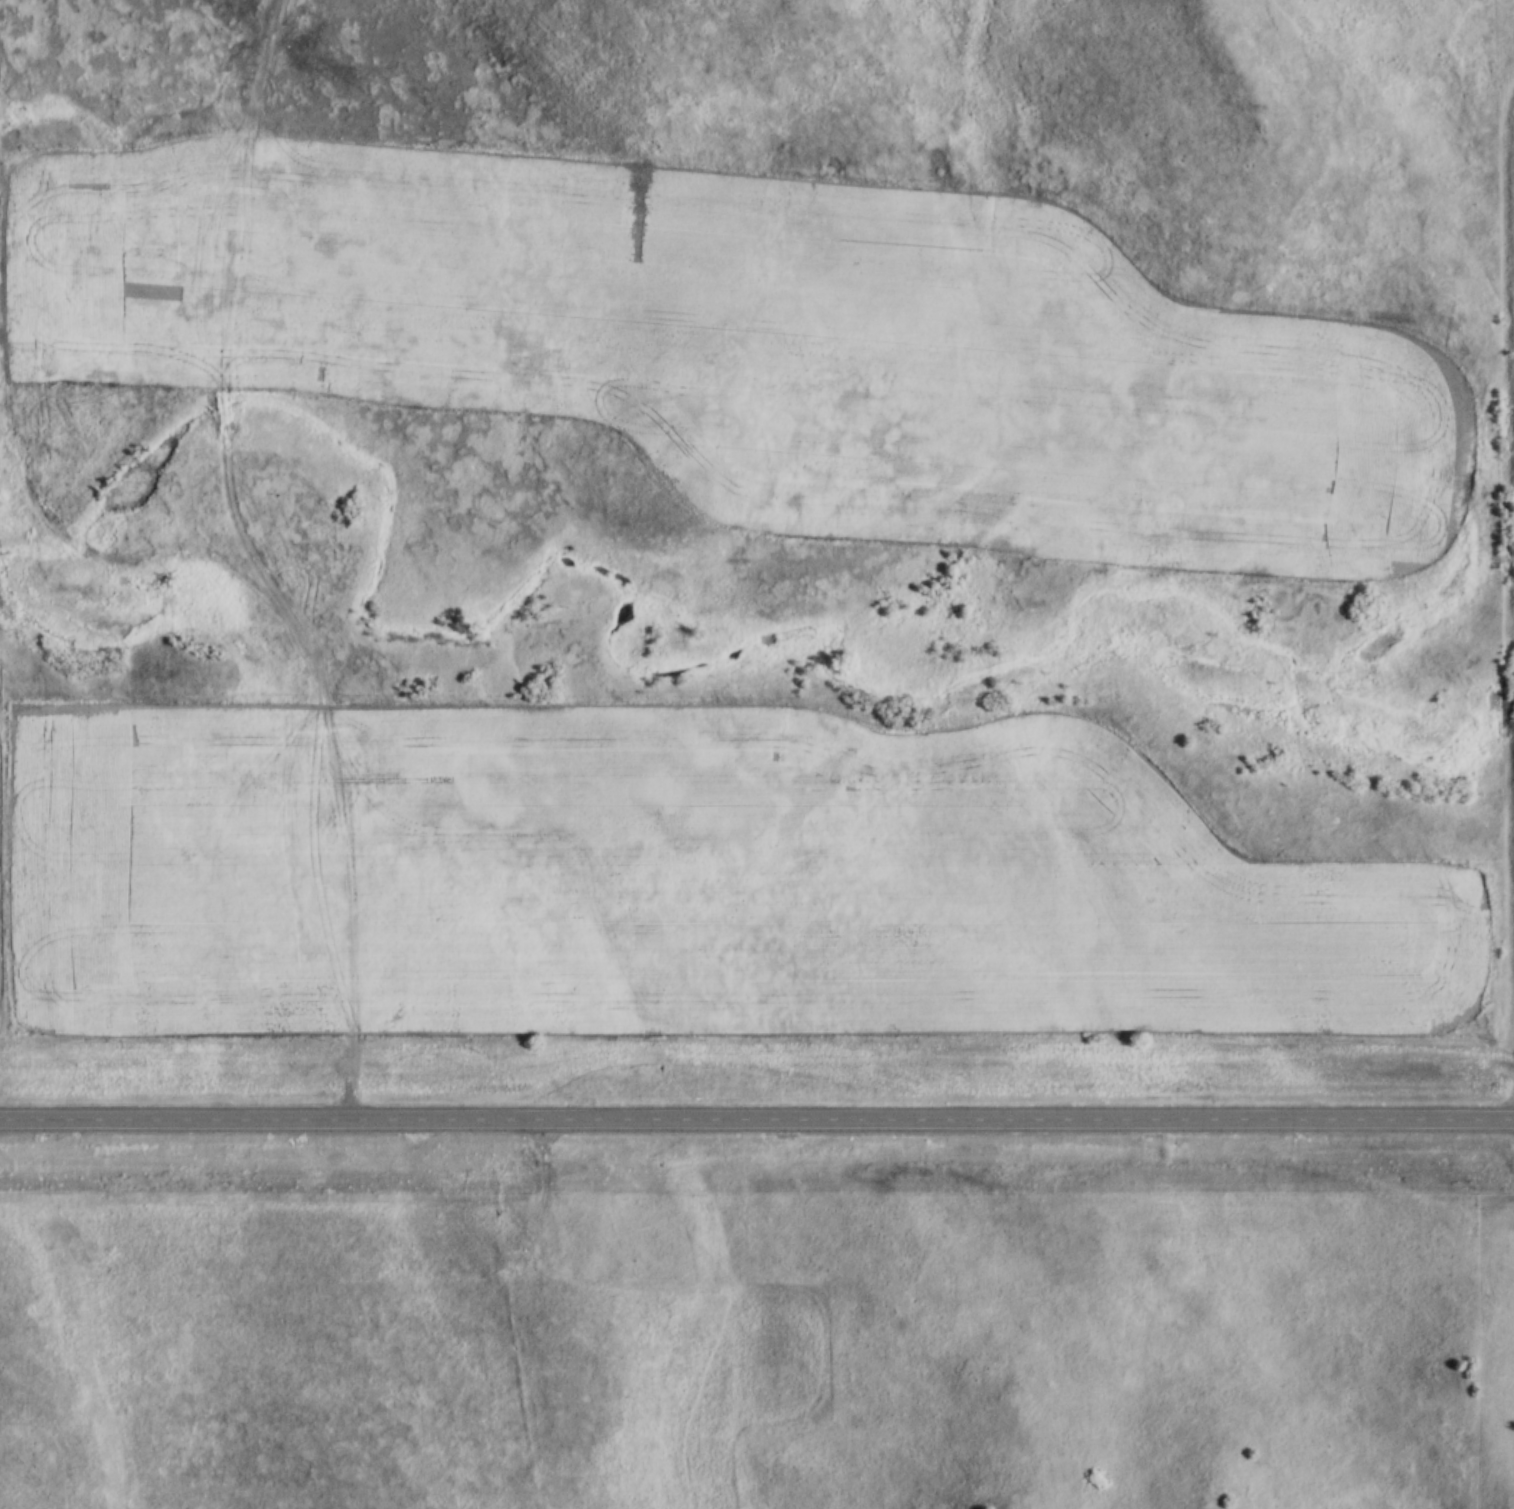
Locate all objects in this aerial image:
road: (757, 1122)

